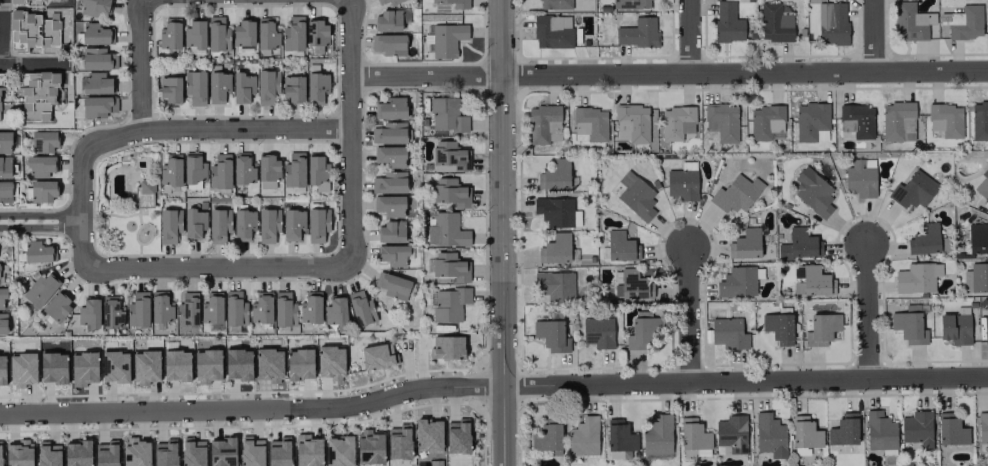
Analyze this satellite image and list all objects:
building: (24, 0)
building: (380, 1)
building: (393, 1)
building: (455, 3)
building: (553, 4)
building: (630, 4)
building: (92, 7)
building: (387, 20)
building: (727, 22)
building: (910, 22)
building: (774, 23)
building: (967, 23)
building: (833, 24)
building: (33, 30)
building: (552, 31)
road: (4, 32)
building: (637, 32)
building: (95, 33)
building: (169, 33)
building: (217, 33)
building: (243, 33)
building: (266, 33)
building: (293, 33)
building: (194, 36)
road: (872, 37)
road: (691, 38)
building: (446, 39)
building: (388, 43)
building: (97, 58)
road: (34, 65)
road: (143, 66)
road: (669, 76)
building: (96, 82)
building: (194, 86)
building: (217, 86)
building: (242, 86)
building: (266, 86)
building: (316, 87)
building: (293, 88)
building: (170, 89)
building: (37, 95)
building: (97, 106)
building: (390, 108)
building: (447, 114)
building: (945, 119)
building: (979, 120)
building: (721, 121)
building: (855, 121)
building: (897, 121)
building: (631, 122)
building: (676, 122)
building: (766, 122)
building: (811, 122)
building: (544, 124)
building: (589, 124)
road: (219, 131)
road: (352, 132)
building: (388, 133)
building: (42, 141)
building: (4, 142)
building: (389, 155)
building: (449, 156)
building: (40, 165)
building: (4, 166)
building: (268, 167)
building: (242, 168)
building: (193, 169)
building: (293, 169)
building: (170, 170)
building: (219, 171)
building: (317, 172)
building: (556, 174)
building: (860, 179)
building: (389, 182)
building: (266, 184)
building: (684, 184)
building: (983, 188)
building: (913, 190)
building: (5, 191)
building: (40, 191)
building: (144, 192)
building: (451, 192)
building: (813, 192)
building: (635, 195)
building: (734, 195)
building: (388, 205)
road: (82, 207)
building: (554, 210)
road: (41, 222)
building: (194, 223)
building: (292, 223)
building: (218, 224)
building: (243, 224)
building: (267, 224)
building: (316, 224)
building: (169, 225)
building: (446, 230)
building: (391, 231)
road: (502, 233)
building: (977, 237)
building: (924, 240)
building: (801, 242)
building: (745, 244)
building: (620, 245)
building: (555, 250)
building: (36, 251)
building: (394, 254)
building: (449, 266)
road: (220, 268)
building: (979, 277)
building: (915, 279)
building: (738, 282)
building: (816, 282)
building: (391, 284)
building: (634, 285)
building: (557, 286)
building: (40, 288)
building: (2, 295)
building: (449, 304)
building: (160, 306)
building: (261, 306)
building: (56, 307)
building: (310, 307)
building: (211, 308)
building: (234, 308)
building: (360, 308)
building: (137, 309)
building: (283, 309)
building: (187, 310)
road: (867, 311)
building: (111, 312)
building: (335, 312)
building: (88, 313)
road: (690, 316)
building: (2, 323)
building: (778, 327)
building: (908, 327)
building: (954, 328)
building: (821, 329)
building: (598, 331)
building: (643, 332)
building: (728, 334)
building: (551, 335)
building: (985, 335)
building: (446, 347)
building: (377, 356)
building: (330, 361)
building: (237, 363)
building: (299, 363)
building: (175, 364)
building: (206, 364)
building: (267, 364)
building: (114, 365)
building: (52, 366)
building: (145, 366)
building: (21, 367)
building: (82, 367)
building: (2, 369)
road: (745, 381)
road: (252, 408)
building: (917, 428)
building: (982, 428)
building: (843, 430)
building: (879, 431)
building: (804, 432)
building: (951, 432)
building: (657, 434)
building: (693, 434)
building: (730, 434)
building: (426, 435)
building: (769, 435)
building: (547, 436)
building: (456, 438)
building: (583, 438)
building: (619, 439)
building: (398, 443)
building: (370, 447)
building: (339, 450)
building: (308, 451)
building: (222, 452)
building: (251, 452)
building: (695, 452)
building: (77, 453)
building: (136, 453)
building: (192, 453)
building: (278, 453)
building: (17, 454)
building: (47, 455)
building: (106, 455)
building: (165, 455)
building: (0, 458)

